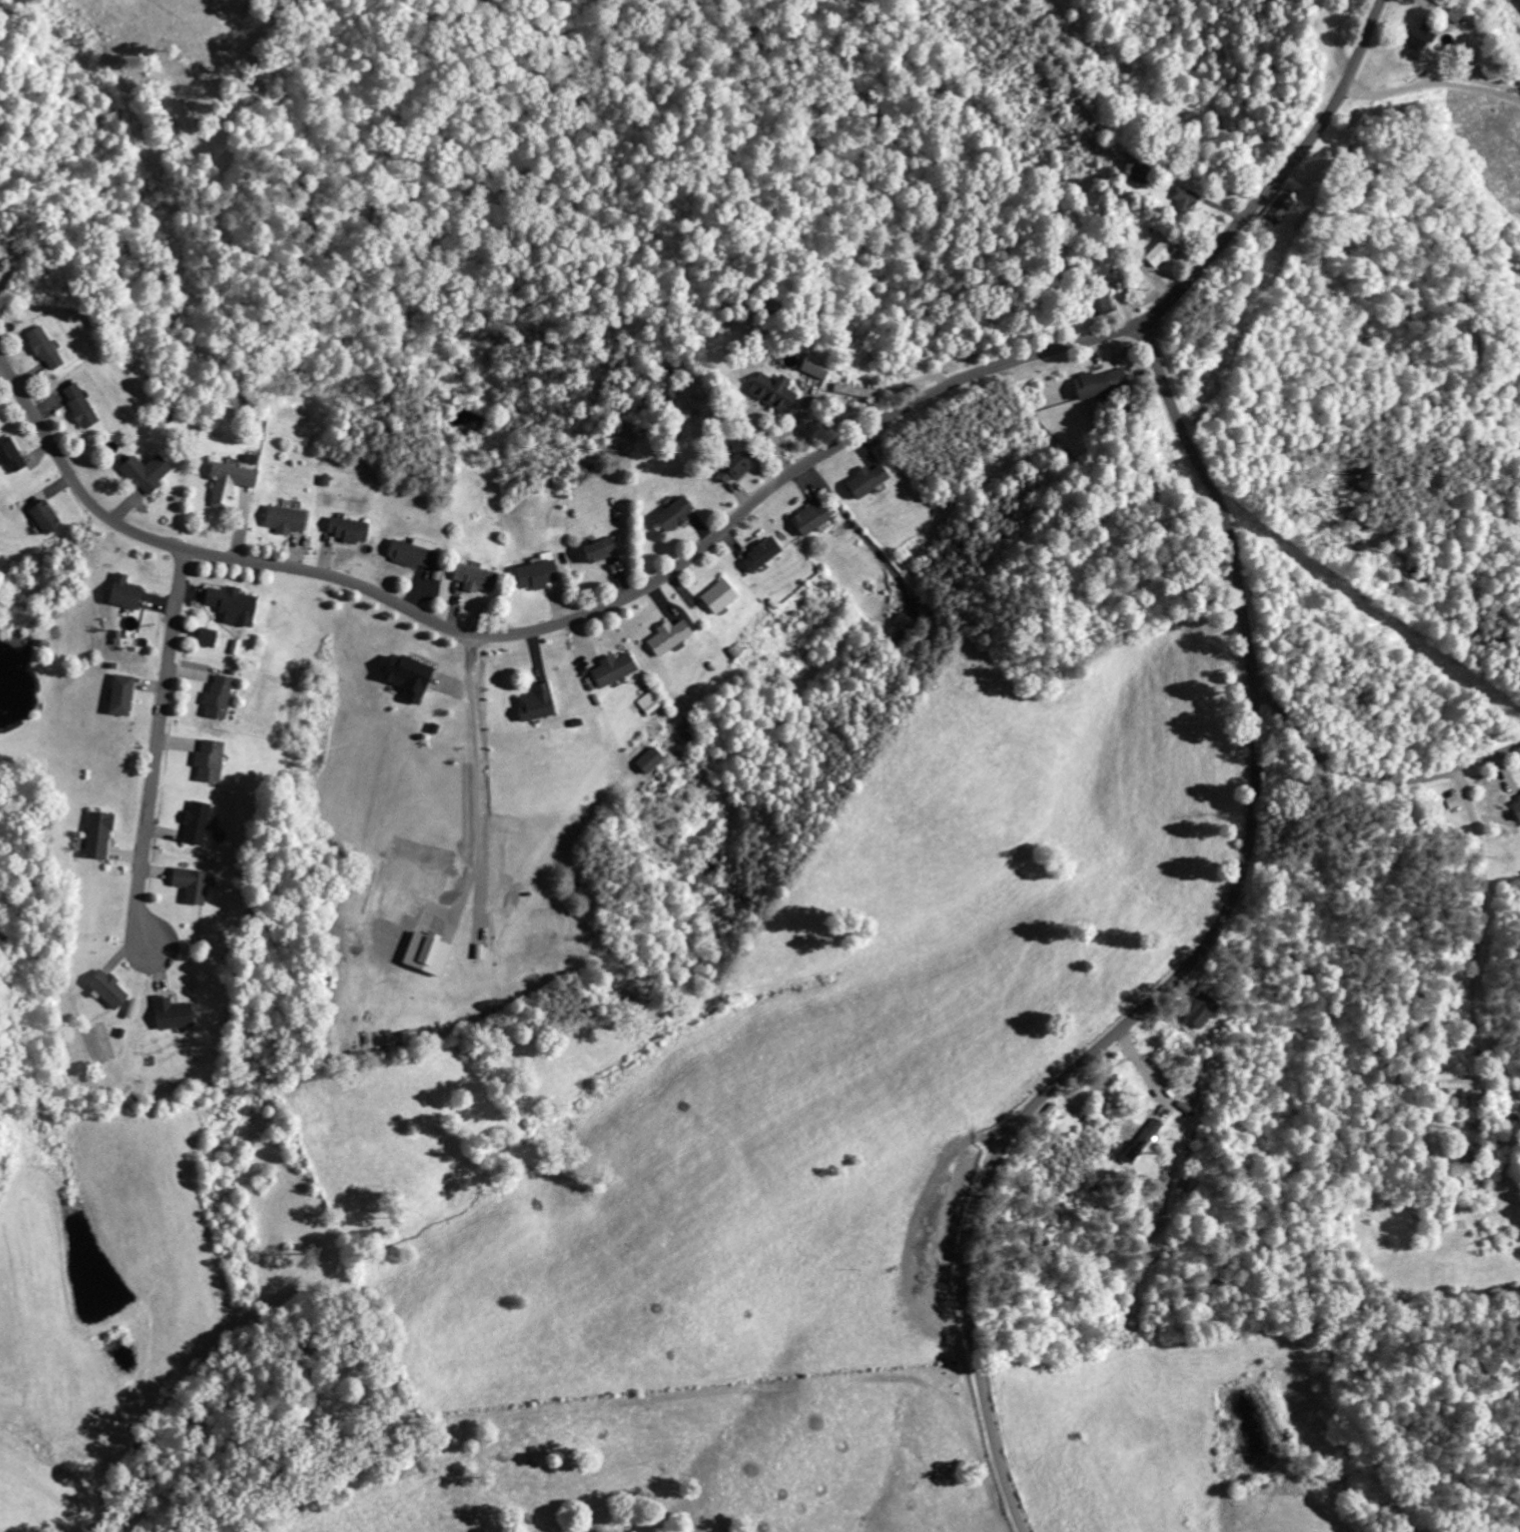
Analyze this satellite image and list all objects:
building: (1518, 3)
building: (1414, 40)
building: (1134, 171)
building: (1184, 200)
building: (1284, 201)
building: (1158, 251)
building: (1100, 300)
building: (43, 347)
building: (814, 365)
building: (1100, 381)
building: (852, 389)
building: (771, 391)
building: (79, 404)
building: (10, 454)
building: (734, 466)
building: (144, 471)
building: (865, 480)
building: (227, 482)
building: (673, 513)
building: (43, 515)
building: (283, 518)
building: (809, 518)
road: (729, 523)
building: (347, 529)
building: (598, 548)
building: (411, 551)
building: (760, 554)
building: (537, 572)
building: (474, 577)
building: (123, 591)
building: (718, 595)
building: (231, 604)
building: (901, 626)
building: (668, 635)
building: (206, 637)
building: (612, 668)
building: (406, 675)
building: (120, 694)
building: (218, 696)
building: (535, 702)
building: (648, 702)
road: (160, 708)
building: (648, 759)
building: (209, 760)
road: (1362, 775)
building: (1453, 801)
building: (1516, 805)
building: (195, 822)
building: (97, 834)
building: (190, 883)
building: (425, 952)
road: (1197, 959)
building: (105, 988)
building: (130, 1008)
building: (1199, 1009)
building: (171, 1013)
building: (1459, 1082)
building: (1143, 1139)
building: (1470, 1182)

